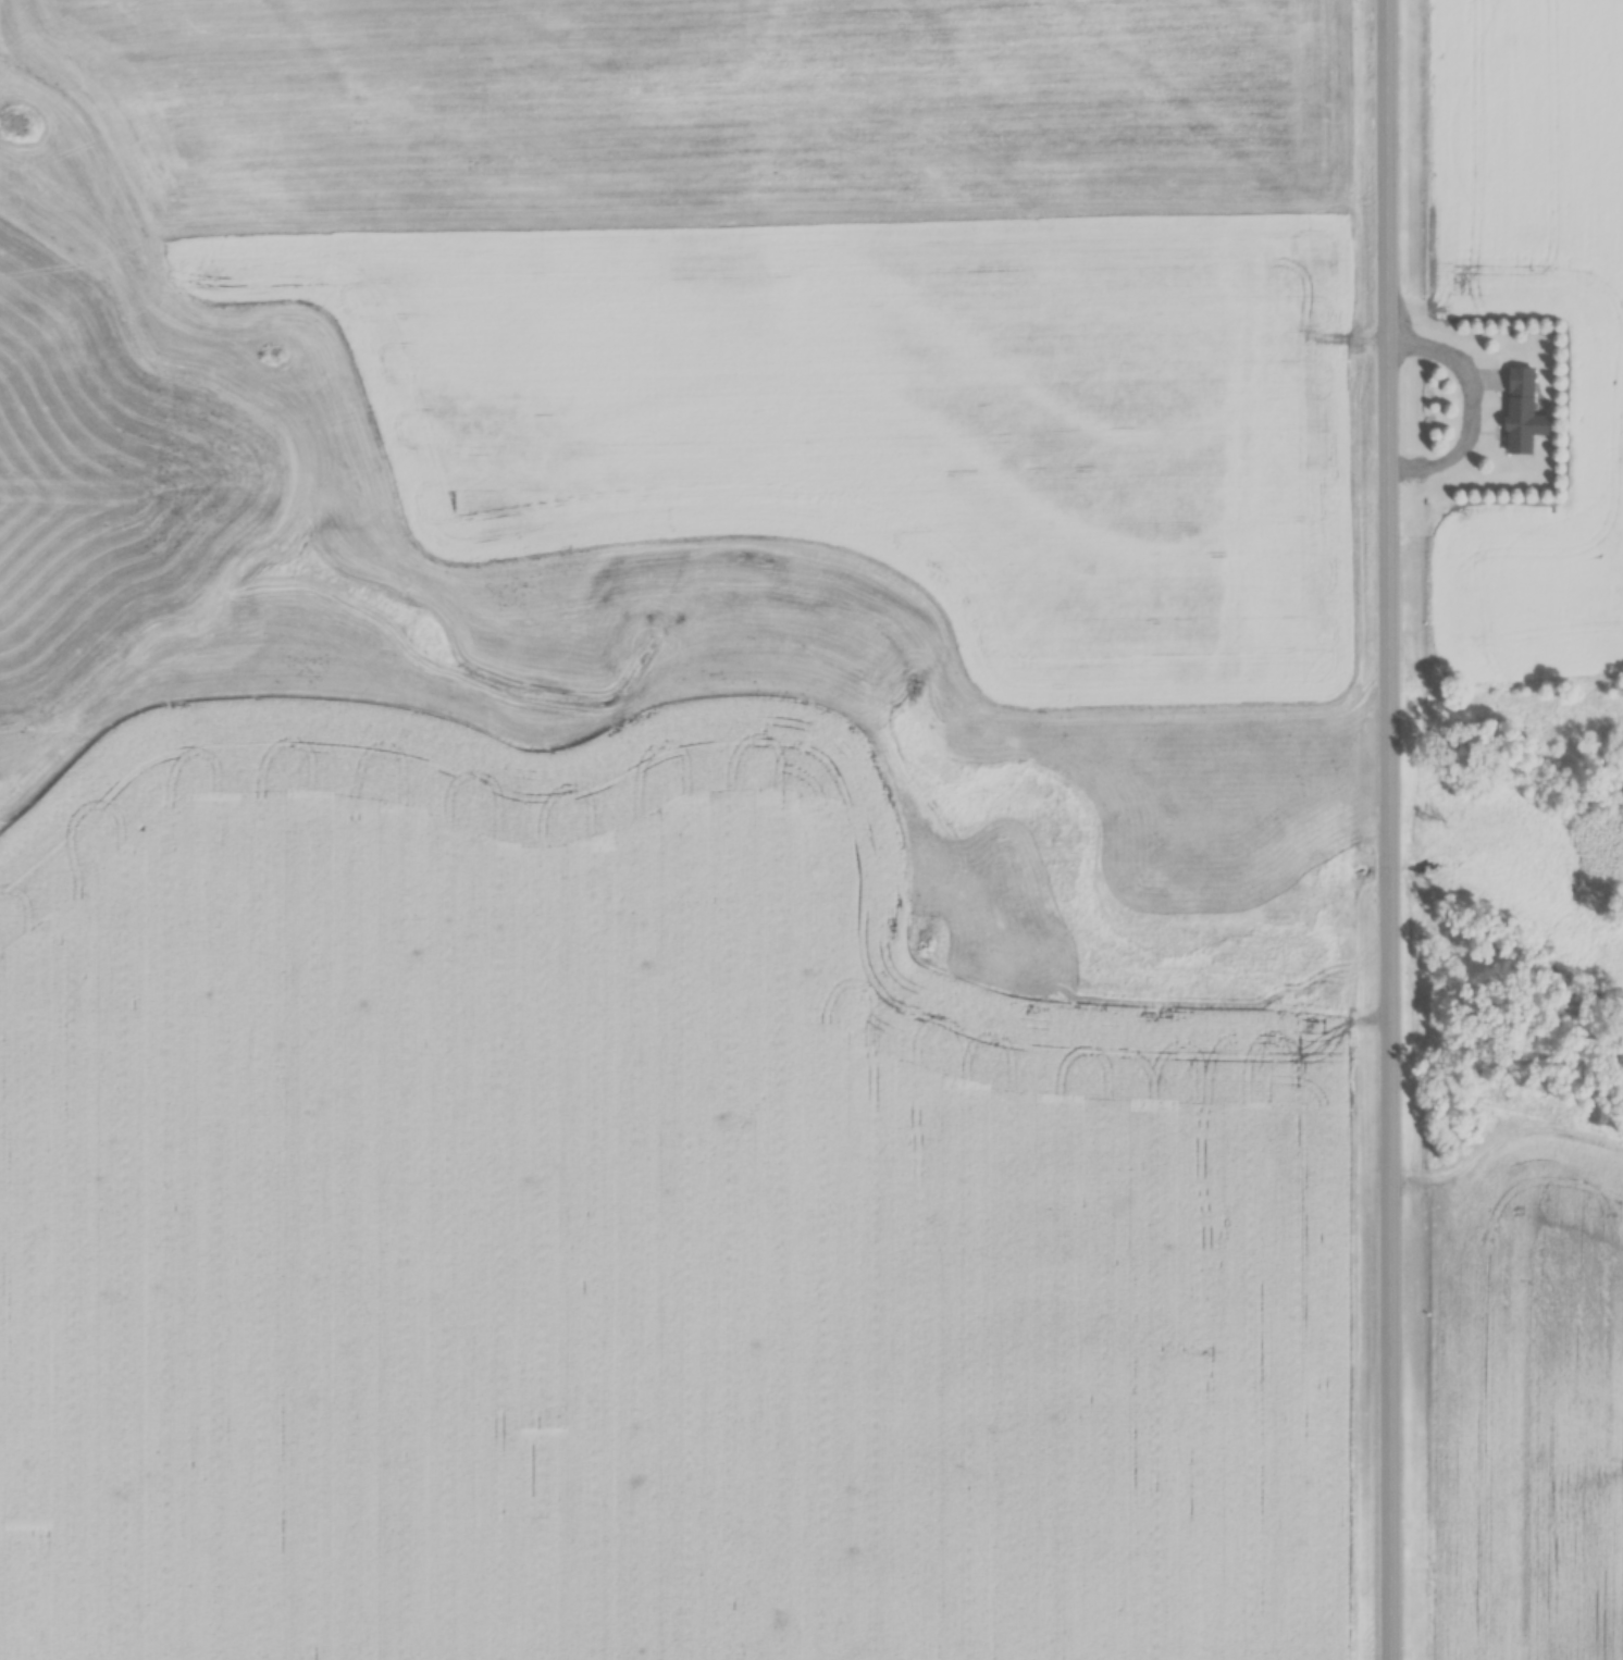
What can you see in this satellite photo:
building: (1517, 413)
road: (1388, 830)

